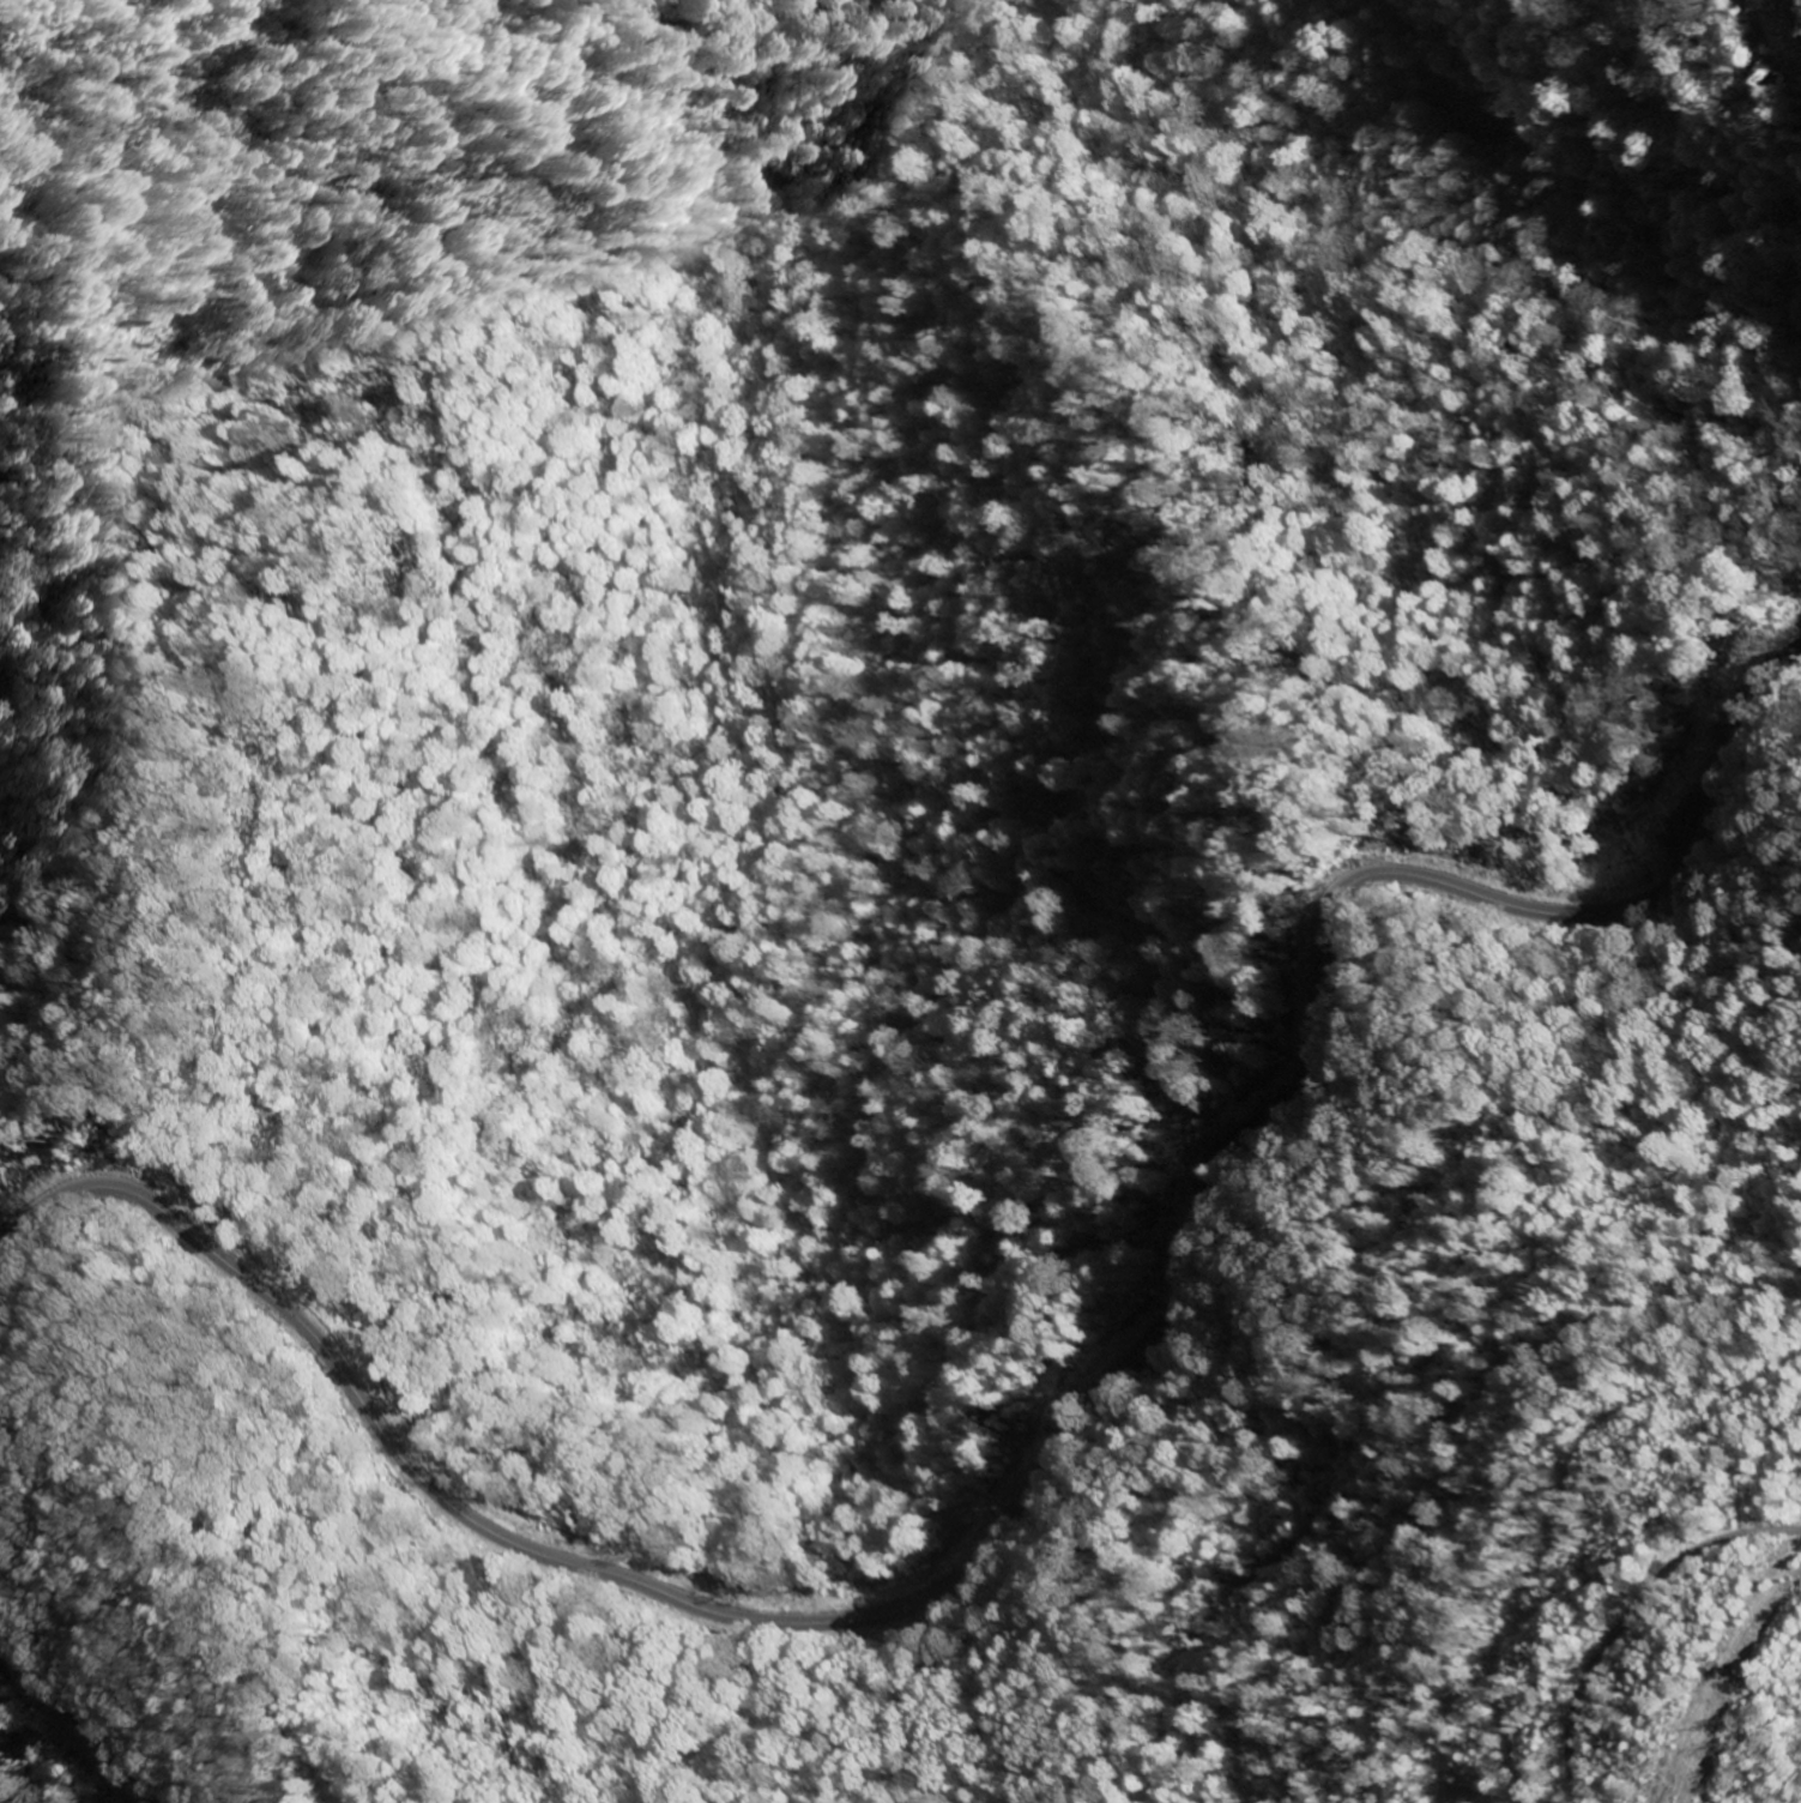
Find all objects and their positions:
building: (993, 1021)
building: (38, 1258)
road: (1046, 1471)
building: (530, 1570)
road: (1646, 1638)
road: (81, 1709)

